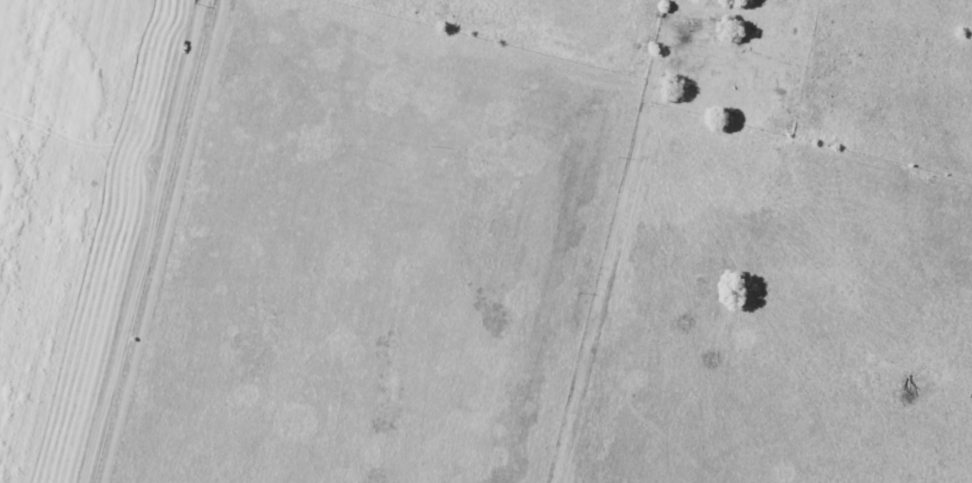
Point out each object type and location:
road: (146, 241)
road: (165, 241)
road: (613, 241)

